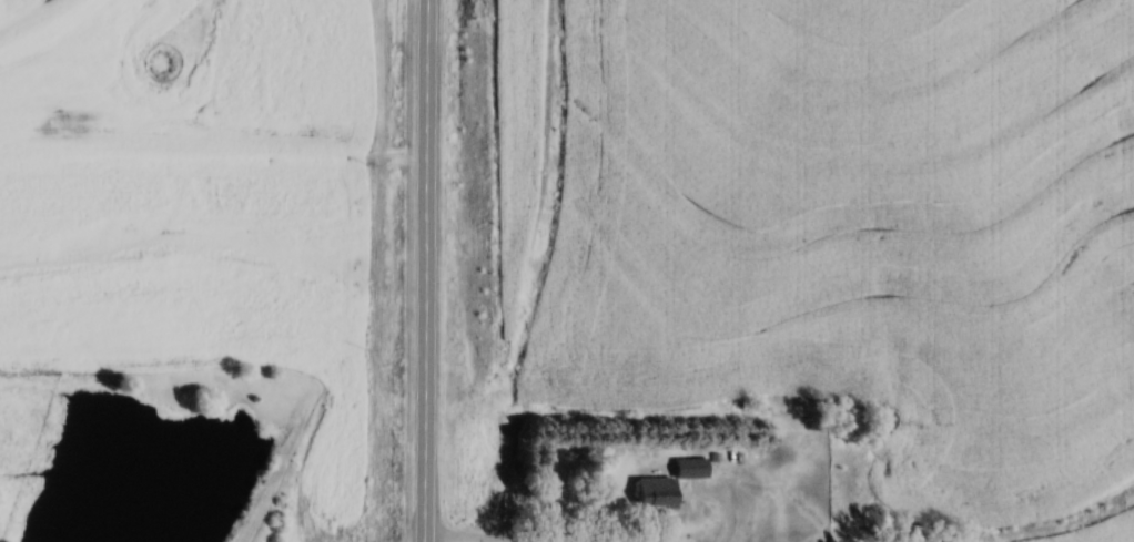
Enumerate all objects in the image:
road: (424, 270)
building: (672, 483)

